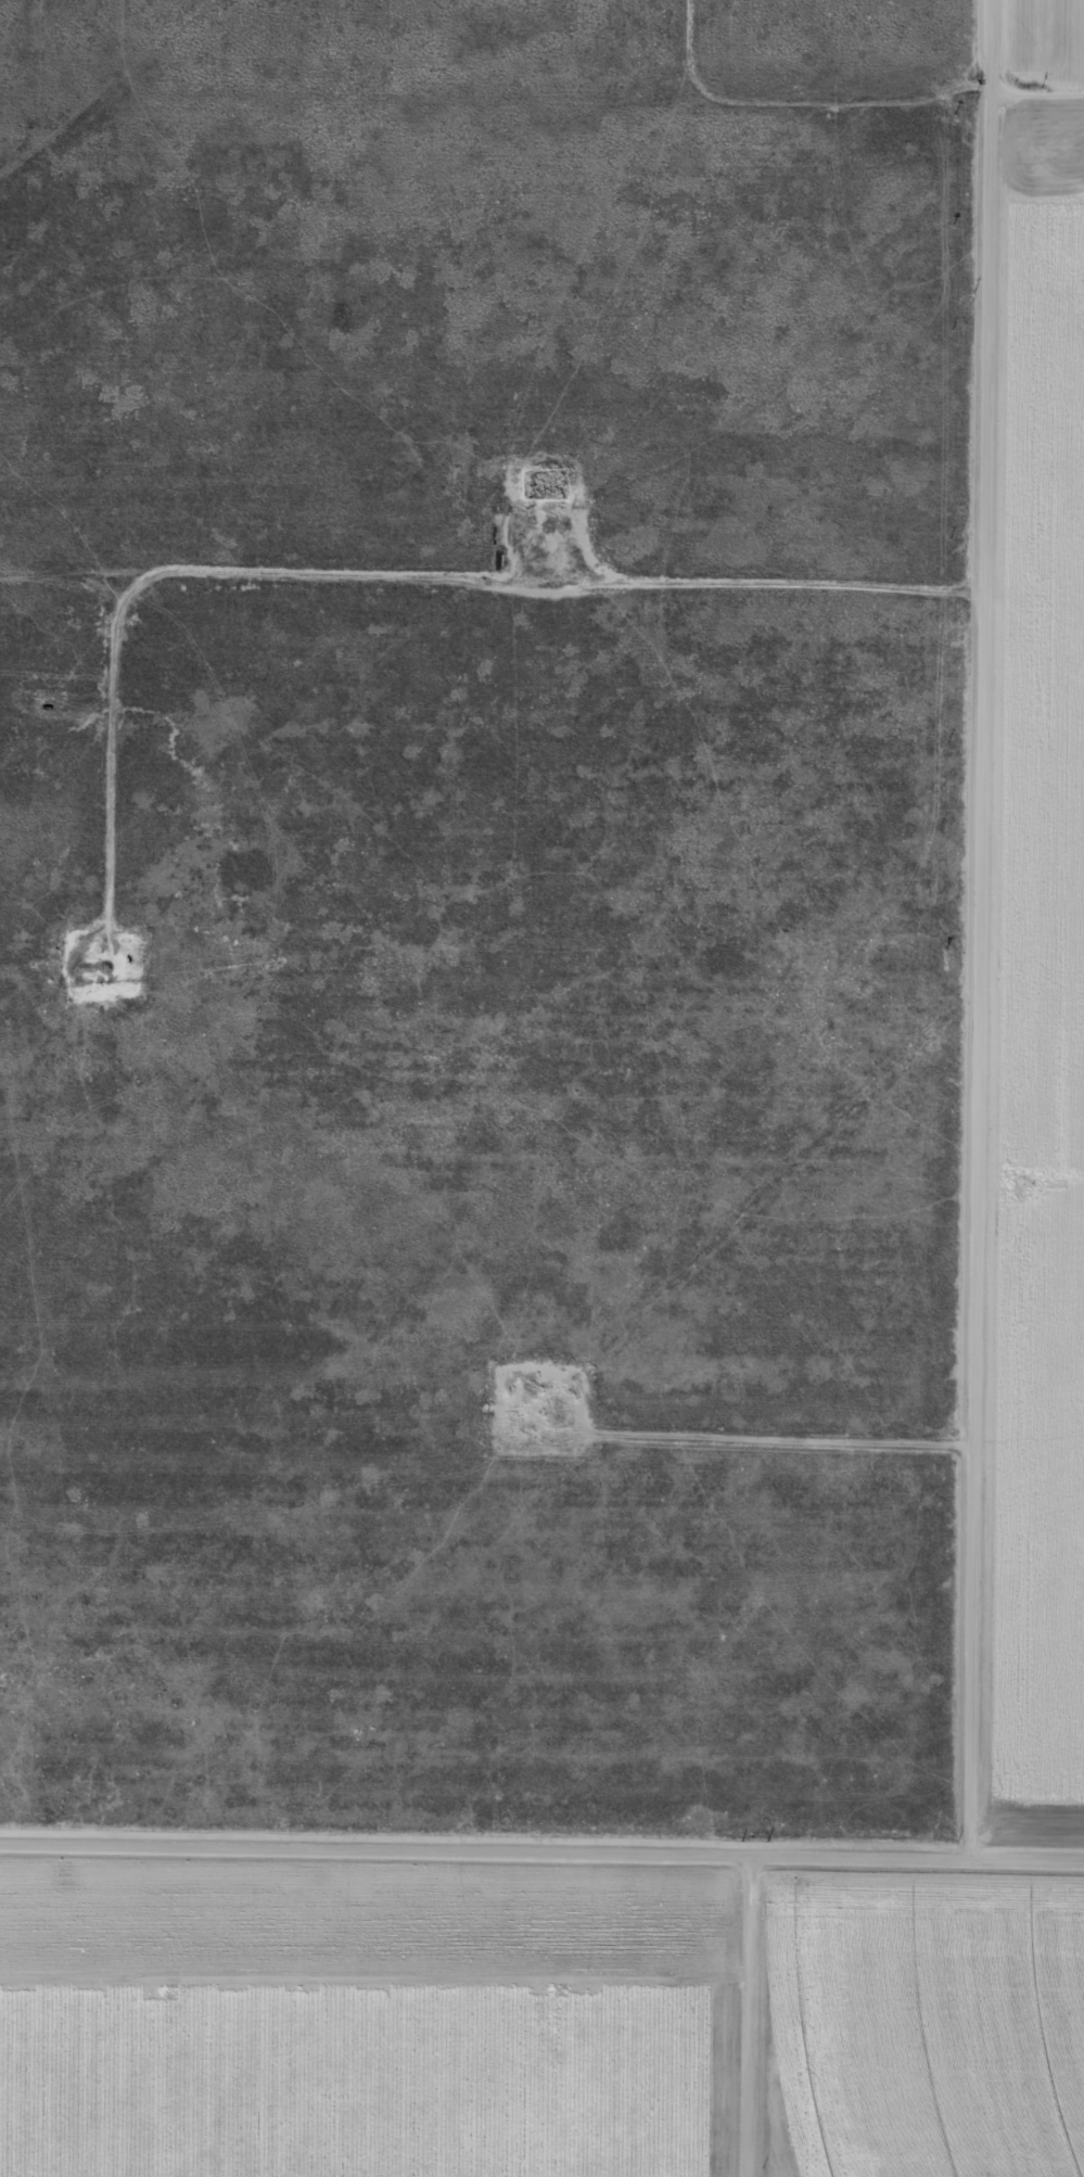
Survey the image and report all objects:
road: (541, 87)
road: (1002, 927)
road: (541, 1851)
road: (752, 2015)

